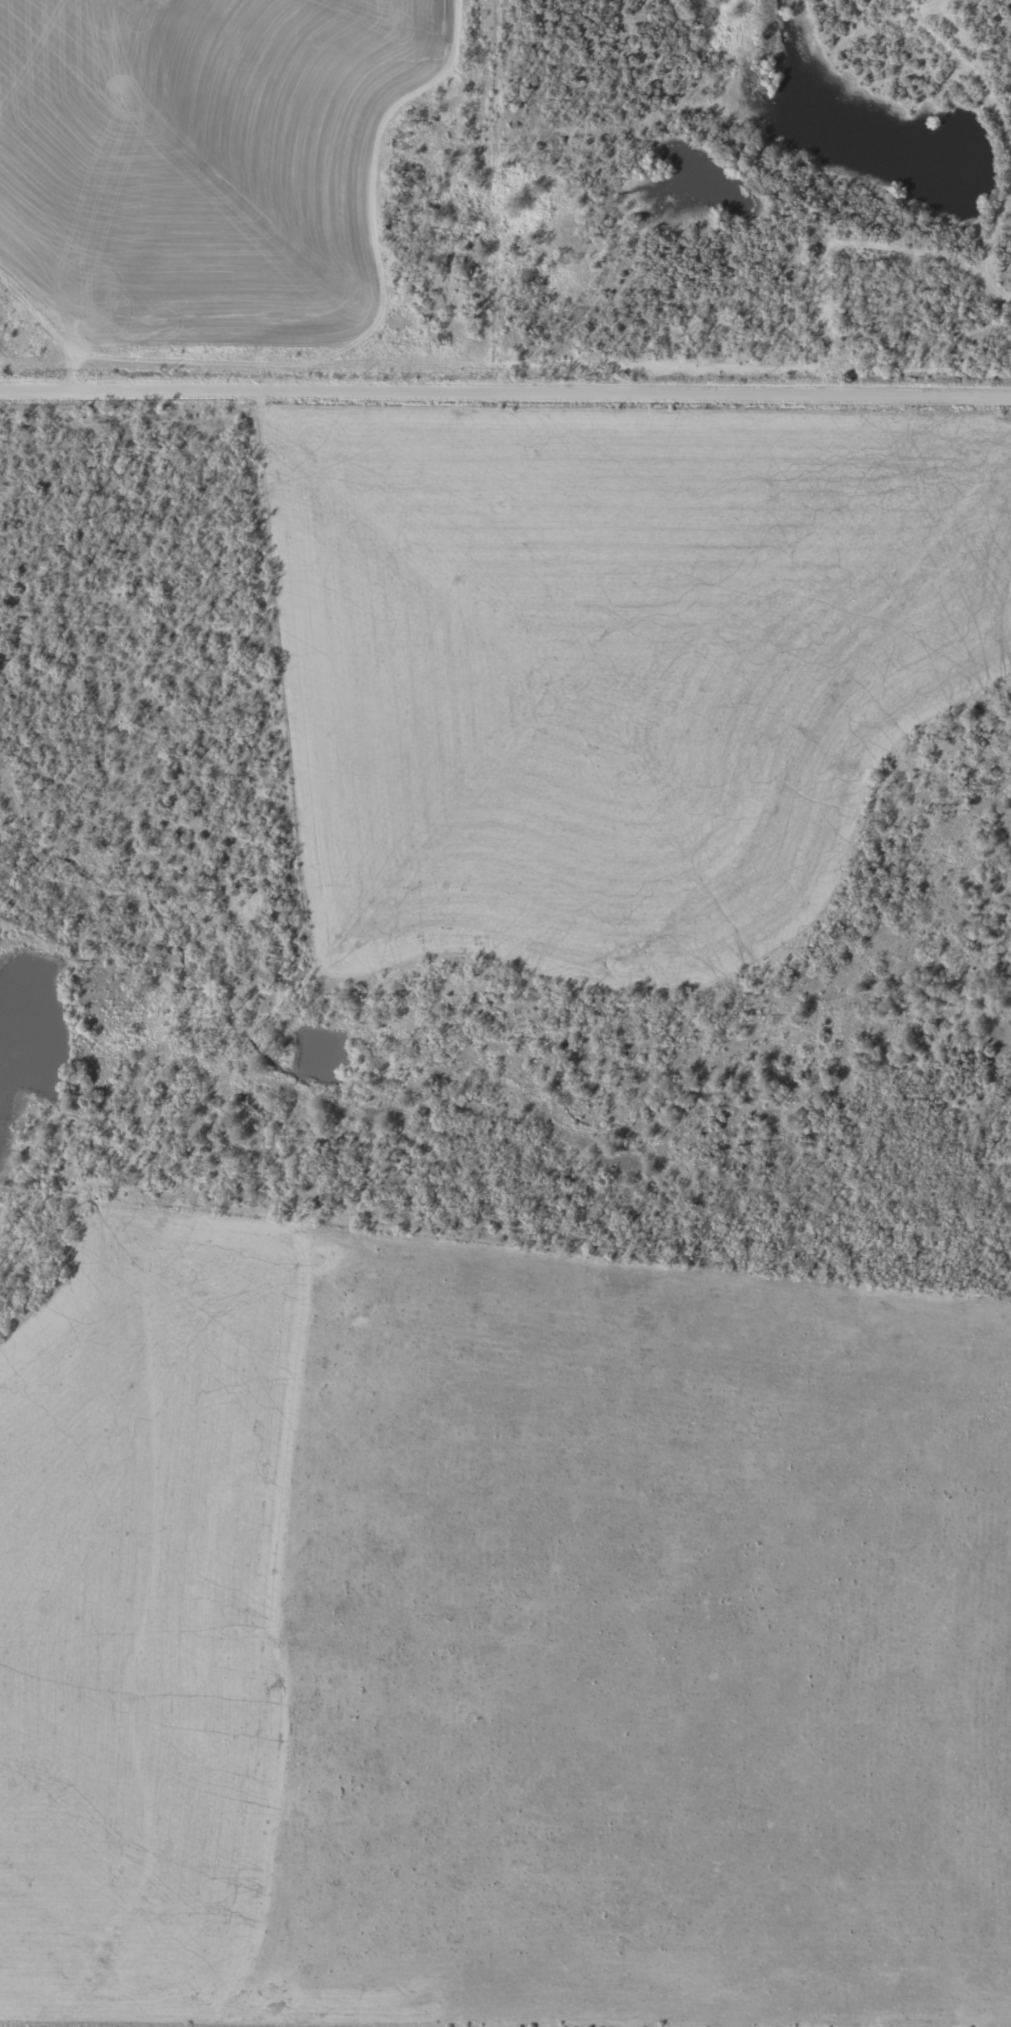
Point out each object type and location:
road: (982, 28)
road: (42, 343)
road: (505, 388)

